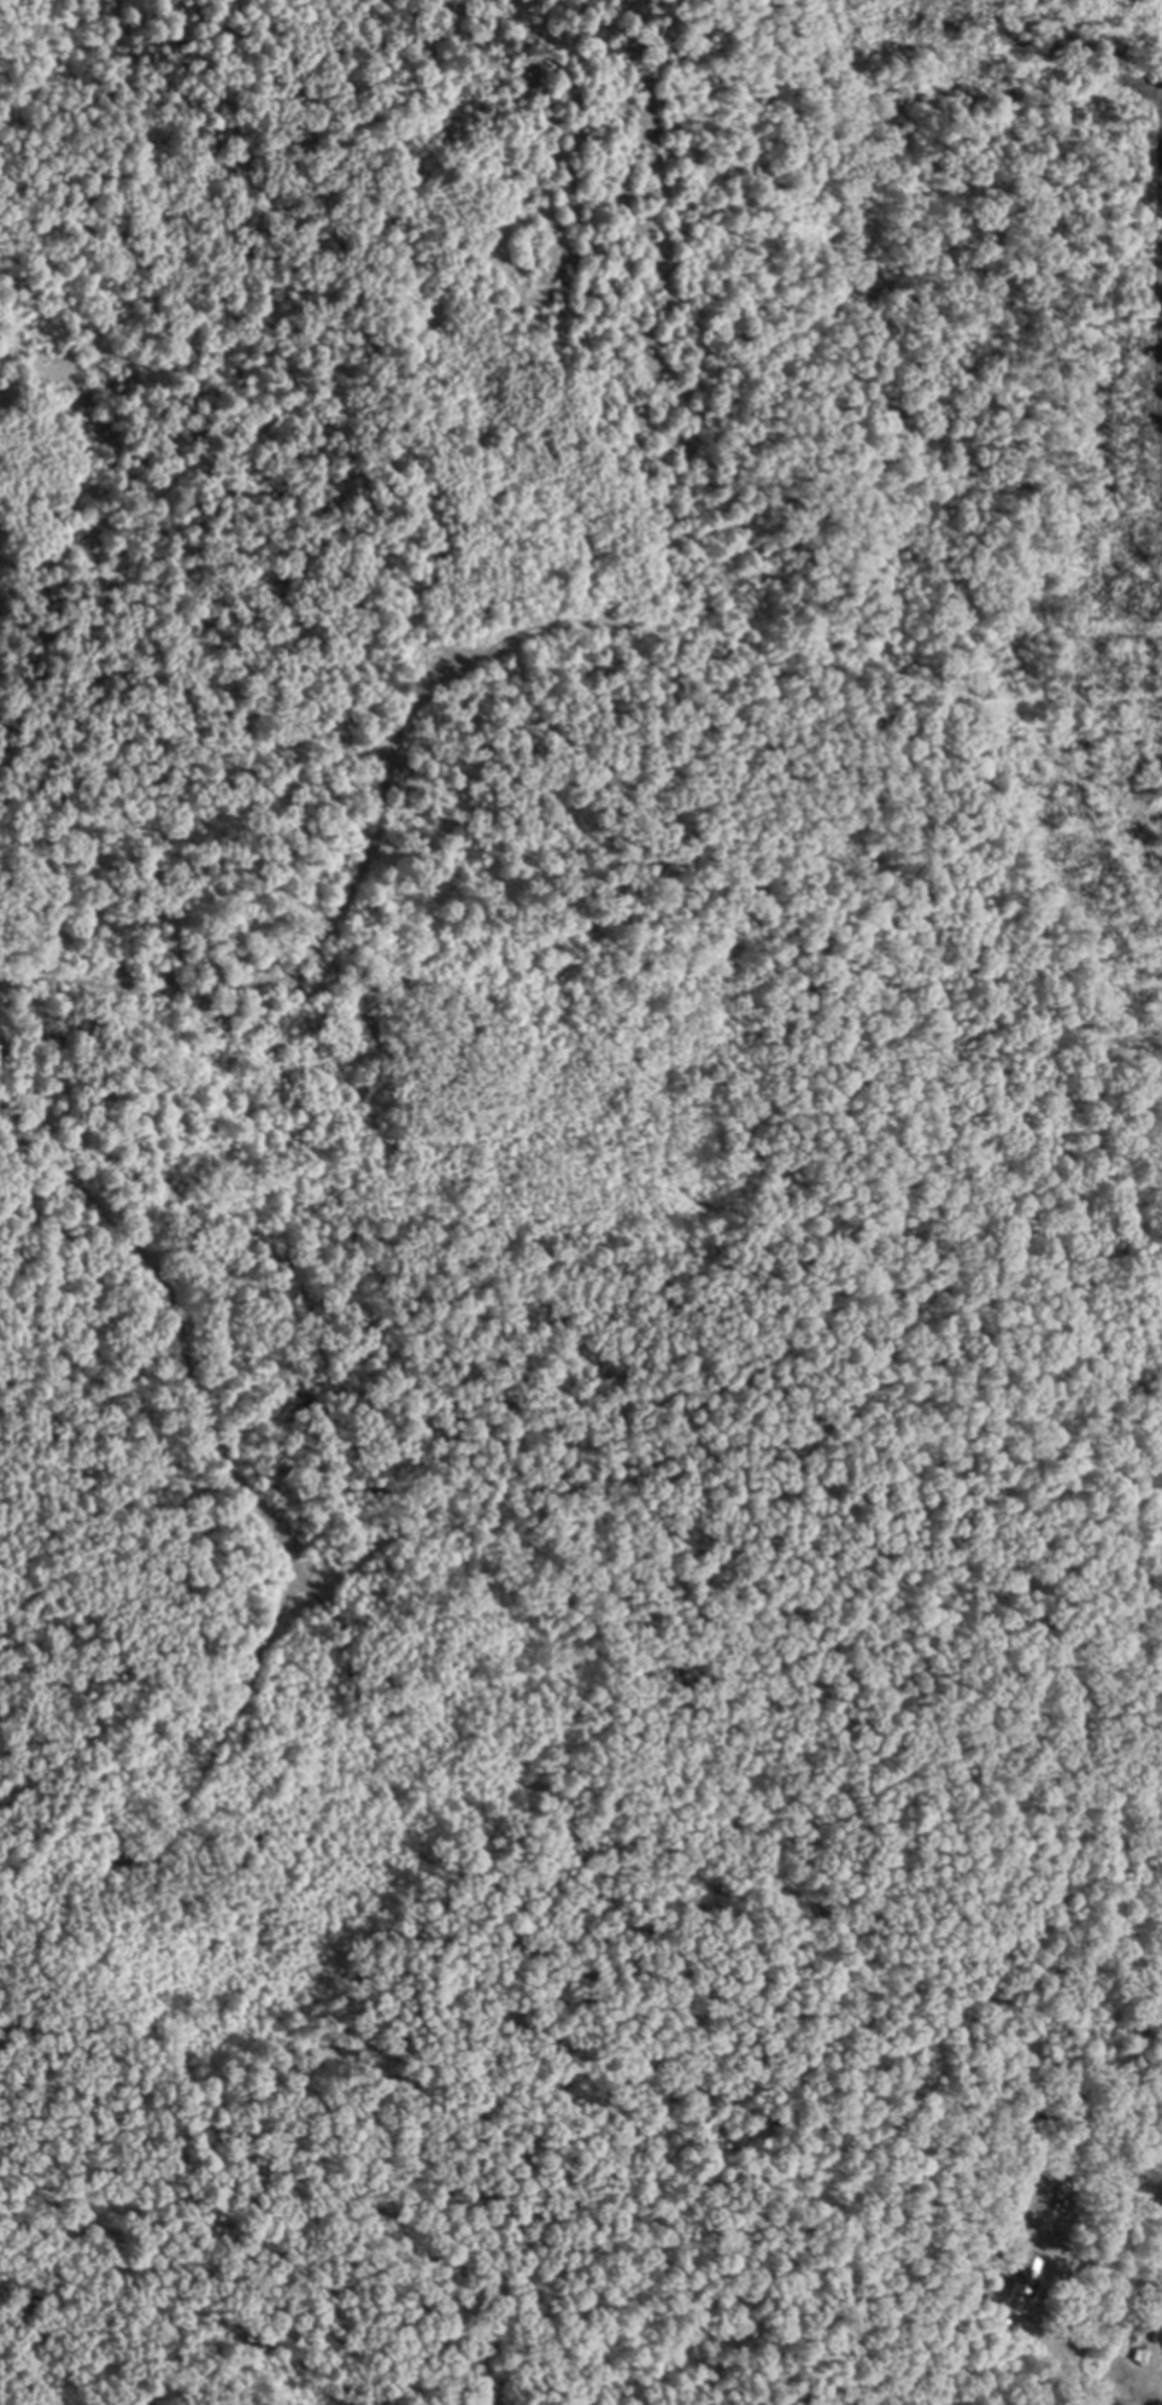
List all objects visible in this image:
building: (1023, 2283)

